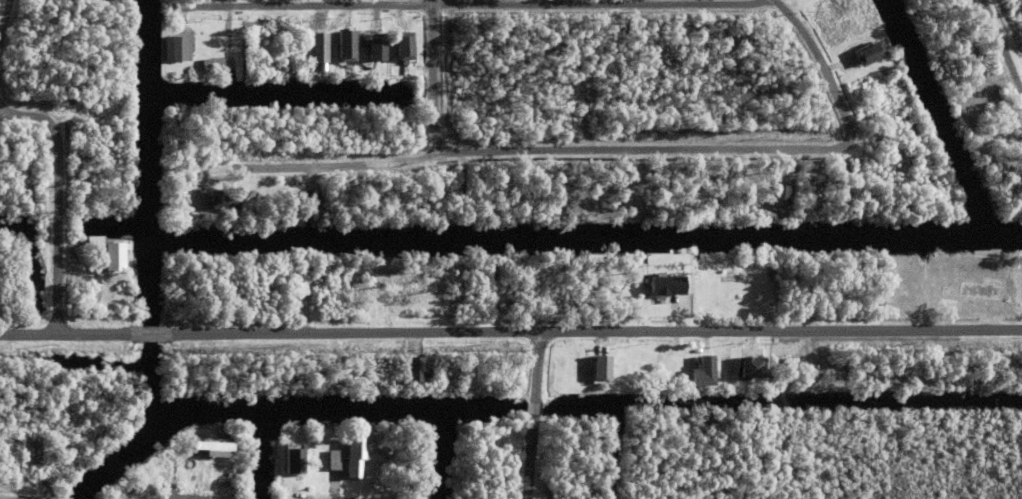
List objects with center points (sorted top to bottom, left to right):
road: (470, 6)
road: (3, 15)
building: (238, 35)
building: (285, 39)
building: (267, 43)
building: (347, 45)
building: (406, 45)
building: (321, 46)
building: (378, 46)
building: (213, 49)
building: (175, 51)
road: (998, 54)
building: (869, 56)
building: (213, 66)
road: (430, 79)
road: (823, 86)
road: (28, 116)
building: (907, 126)
building: (27, 149)
road: (519, 151)
building: (33, 174)
building: (775, 174)
building: (839, 175)
building: (294, 191)
building: (779, 198)
building: (195, 200)
building: (222, 203)
building: (308, 209)
building: (760, 210)
road: (55, 229)
building: (113, 260)
building: (665, 288)
building: (945, 293)
building: (297, 304)
building: (948, 308)
road: (594, 333)
road: (27, 334)
road: (90, 334)
road: (146, 334)
building: (792, 363)
building: (754, 366)
building: (417, 370)
building: (600, 371)
building: (702, 375)
road: (534, 416)
building: (219, 443)
building: (353, 452)
building: (166, 455)
building: (334, 455)
building: (296, 460)
building: (206, 464)
building: (154, 469)
building: (141, 483)
road: (173, 498)
road: (187, 498)

